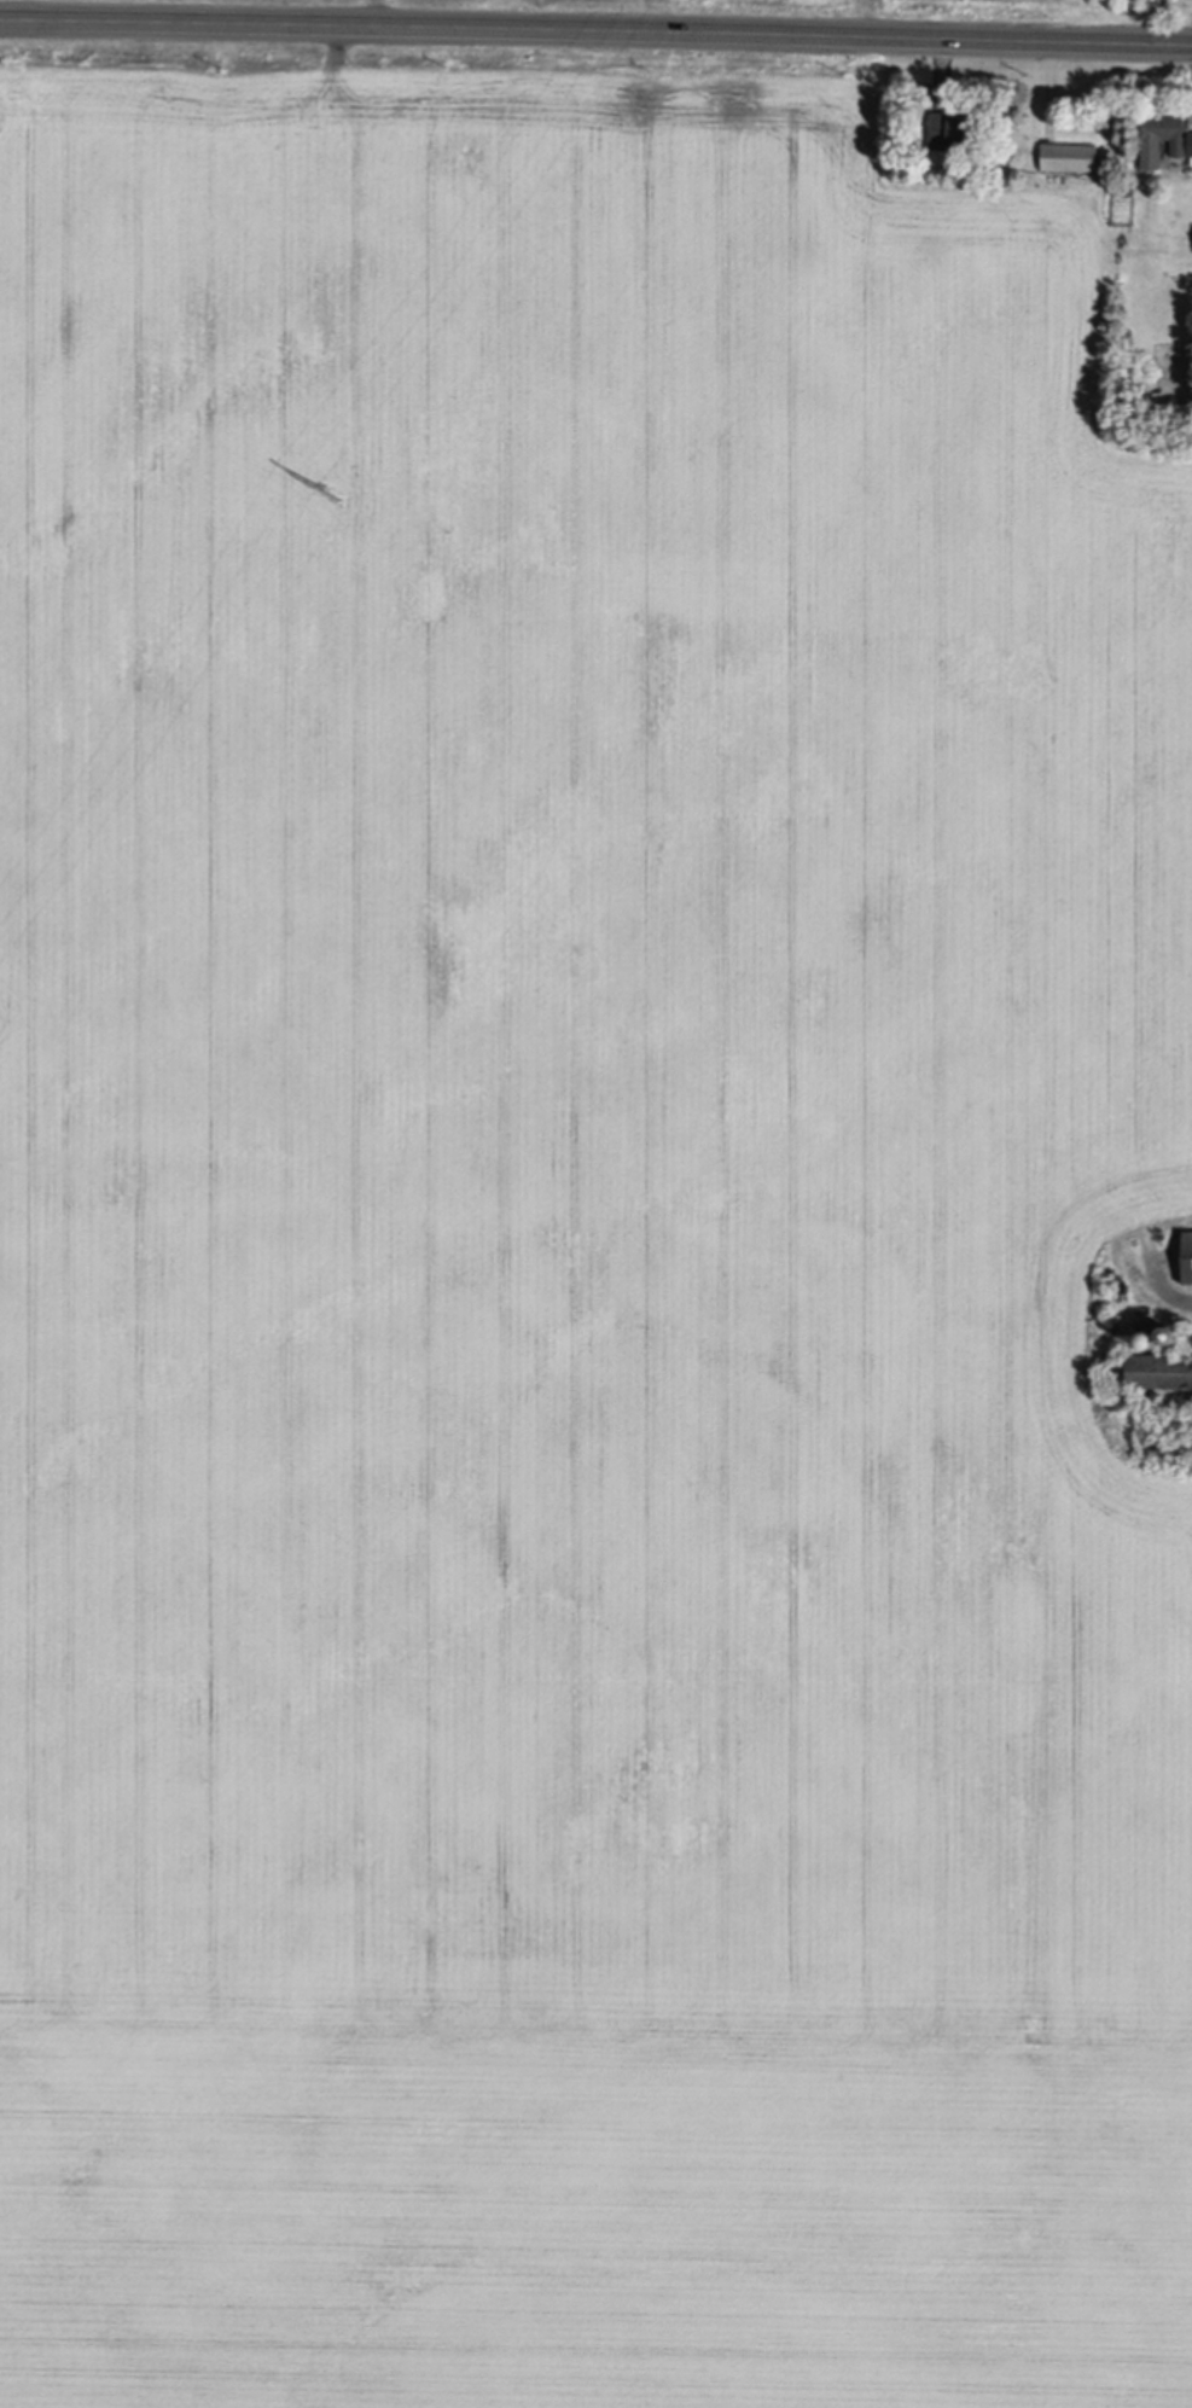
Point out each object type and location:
road: (595, 39)
building: (949, 128)
building: (1162, 135)
building: (1190, 141)
building: (1069, 155)
power tower: (332, 496)
quarry: (583, 1250)
building: (1187, 1256)
building: (1170, 1333)
building: (1149, 1340)
building: (1159, 1371)
building: (1171, 1450)

